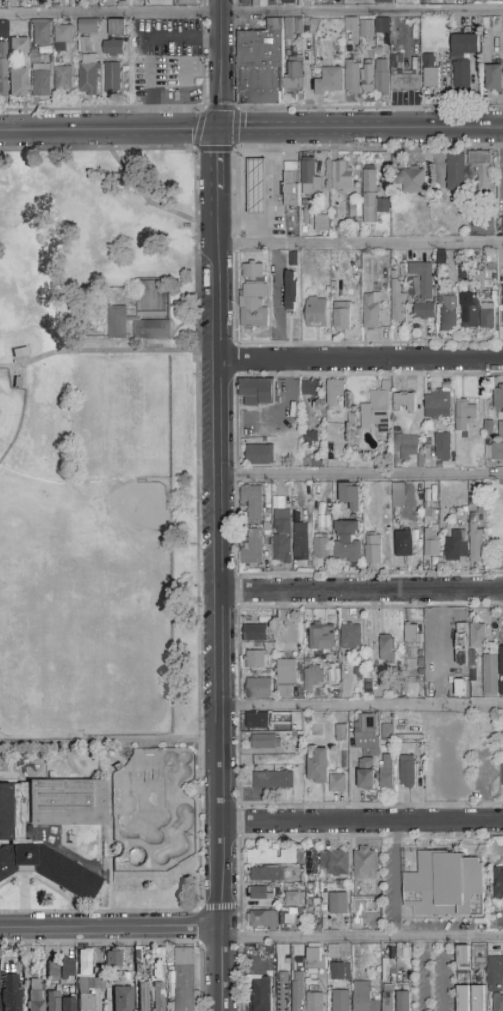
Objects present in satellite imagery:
building: (461, 0)
building: (486, 1)
building: (189, 2)
building: (245, 2)
building: (384, 2)
building: (123, 3)
building: (260, 3)
building: (289, 3)
building: (13, 4)
road: (251, 14)
building: (307, 22)
building: (497, 22)
building: (486, 23)
building: (352, 25)
building: (299, 26)
building: (383, 26)
building: (89, 27)
building: (4, 28)
building: (306, 28)
building: (118, 29)
building: (366, 31)
building: (42, 35)
building: (63, 37)
building: (290, 37)
building: (378, 43)
building: (465, 44)
building: (86, 45)
building: (20, 46)
building: (113, 48)
road: (146, 50)
building: (378, 51)
building: (34, 57)
road: (221, 65)
building: (261, 65)
building: (3, 69)
building: (430, 72)
building: (89, 74)
building: (368, 75)
building: (461, 75)
building: (112, 77)
building: (353, 77)
building: (404, 77)
building: (382, 78)
building: (494, 78)
building: (294, 79)
building: (64, 80)
building: (329, 81)
building: (18, 83)
building: (42, 83)
road: (102, 109)
road: (203, 112)
road: (361, 129)
road: (109, 130)
traffic signals: (219, 130)
road: (243, 167)
building: (482, 168)
building: (457, 172)
building: (341, 176)
building: (310, 178)
building: (411, 180)
building: (291, 184)
road: (270, 187)
building: (255, 188)
building: (387, 189)
road: (143, 197)
building: (373, 198)
building: (353, 206)
building: (333, 213)
road: (244, 217)
building: (321, 224)
building: (502, 226)
road: (360, 244)
building: (293, 259)
building: (491, 266)
building: (452, 267)
building: (334, 269)
building: (254, 272)
building: (421, 280)
building: (483, 282)
building: (502, 285)
building: (385, 286)
building: (333, 287)
building: (377, 287)
building: (328, 289)
road: (274, 290)
building: (291, 291)
building: (151, 293)
building: (438, 299)
building: (398, 300)
building: (255, 306)
building: (469, 310)
building: (372, 311)
building: (424, 312)
building: (152, 313)
building: (316, 313)
building: (448, 314)
building: (501, 314)
building: (487, 316)
building: (342, 317)
building: (117, 322)
building: (154, 330)
building: (18, 347)
road: (97, 351)
road: (361, 359)
building: (411, 383)
building: (311, 389)
building: (479, 389)
building: (334, 391)
building: (259, 392)
building: (498, 399)
building: (404, 403)
building: (438, 405)
building: (358, 411)
building: (378, 411)
park: (10, 412)
building: (465, 415)
building: (351, 419)
building: (488, 429)
building: (400, 430)
building: (500, 431)
building: (310, 438)
building: (428, 443)
building: (406, 446)
building: (443, 447)
building: (432, 452)
building: (494, 452)
building: (260, 455)
building: (421, 461)
building: (311, 463)
building: (448, 466)
road: (139, 472)
road: (362, 474)
building: (395, 492)
building: (350, 496)
building: (314, 499)
building: (255, 501)
building: (428, 501)
building: (465, 510)
building: (427, 512)
building: (480, 512)
building: (482, 518)
building: (282, 522)
building: (296, 525)
park: (101, 531)
road: (198, 532)
park: (114, 534)
building: (347, 541)
building: (476, 541)
building: (404, 543)
building: (431, 544)
building: (301, 546)
building: (321, 546)
building: (456, 546)
building: (254, 548)
building: (282, 549)
building: (373, 550)
building: (266, 555)
road: (221, 570)
road: (361, 589)
building: (255, 633)
building: (412, 635)
building: (478, 636)
building: (321, 637)
building: (351, 637)
building: (451, 639)
building: (275, 642)
building: (387, 650)
building: (361, 651)
building: (320, 655)
building: (256, 659)
building: (473, 659)
building: (466, 661)
building: (307, 662)
park: (20, 663)
park: (75, 665)
park: (137, 666)
building: (335, 670)
building: (428, 671)
building: (285, 672)
building: (356, 672)
building: (502, 675)
building: (490, 677)
building: (313, 678)
building: (421, 678)
building: (429, 679)
building: (336, 682)
building: (369, 687)
building: (259, 689)
park: (14, 692)
building: (428, 693)
road: (362, 705)
building: (258, 721)
building: (387, 732)
building: (341, 733)
building: (502, 734)
building: (367, 735)
building: (265, 742)
building: (345, 761)
road: (448, 763)
building: (318, 765)
building: (271, 768)
building: (386, 772)
building: (407, 772)
building: (366, 774)
building: (502, 776)
building: (273, 780)
building: (338, 784)
park: (152, 809)
road: (448, 810)
road: (362, 823)
road: (285, 837)
building: (15, 841)
building: (272, 857)
building: (312, 862)
building: (335, 863)
building: (365, 864)
building: (296, 873)
building: (272, 874)
road: (395, 880)
building: (498, 882)
building: (368, 885)
building: (444, 886)
building: (309, 890)
building: (259, 893)
building: (294, 899)
building: (355, 899)
building: (338, 903)
road: (220, 908)
building: (355, 908)
building: (301, 911)
building: (263, 920)
building: (325, 920)
building: (372, 925)
road: (111, 927)
road: (362, 938)
building: (270, 949)
building: (481, 951)
building: (461, 954)
building: (403, 955)
building: (157, 958)
building: (114, 959)
building: (316, 959)
building: (281, 962)
building: (27, 966)
building: (67, 969)
building: (138, 969)
building: (53, 971)
building: (341, 972)
building: (496, 974)
building: (26, 975)
building: (126, 977)
building: (183, 978)
building: (27, 983)
building: (89, 987)
building: (298, 991)
building: (283, 992)
building: (11, 994)
building: (36, 996)
building: (144, 996)
building: (263, 996)
building: (159, 997)
building: (389, 997)
building: (364, 998)
building: (462, 998)
building: (123, 999)
building: (54, 1001)
building: (341, 1001)
building: (403, 1001)
building: (315, 1002)
building: (498, 1002)
building: (68, 1004)
building: (473, 1004)

